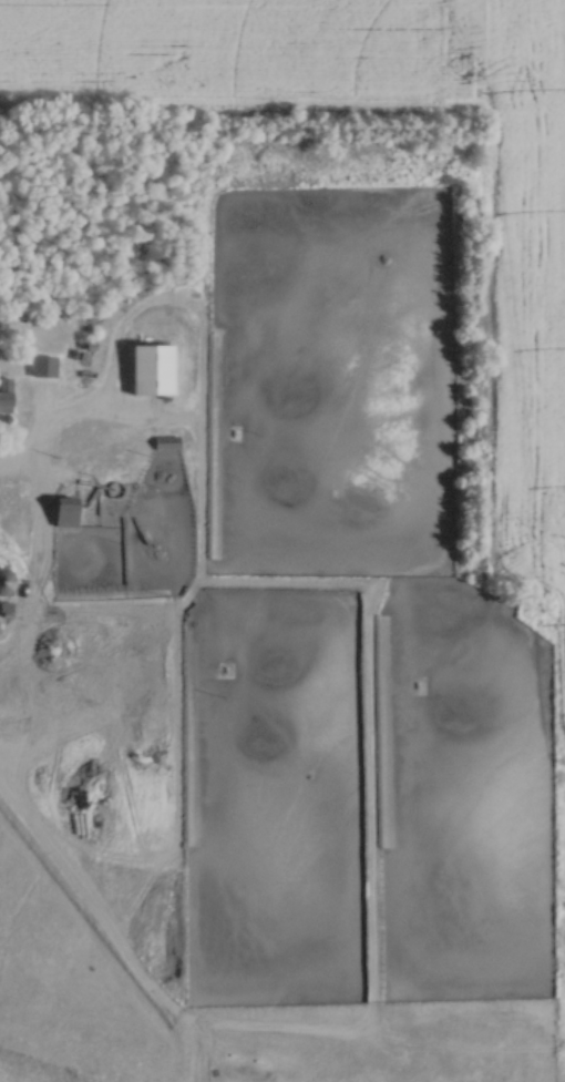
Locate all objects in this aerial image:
building: (41, 366)
building: (150, 369)
building: (4, 395)
road: (38, 442)
building: (63, 512)
building: (4, 581)

